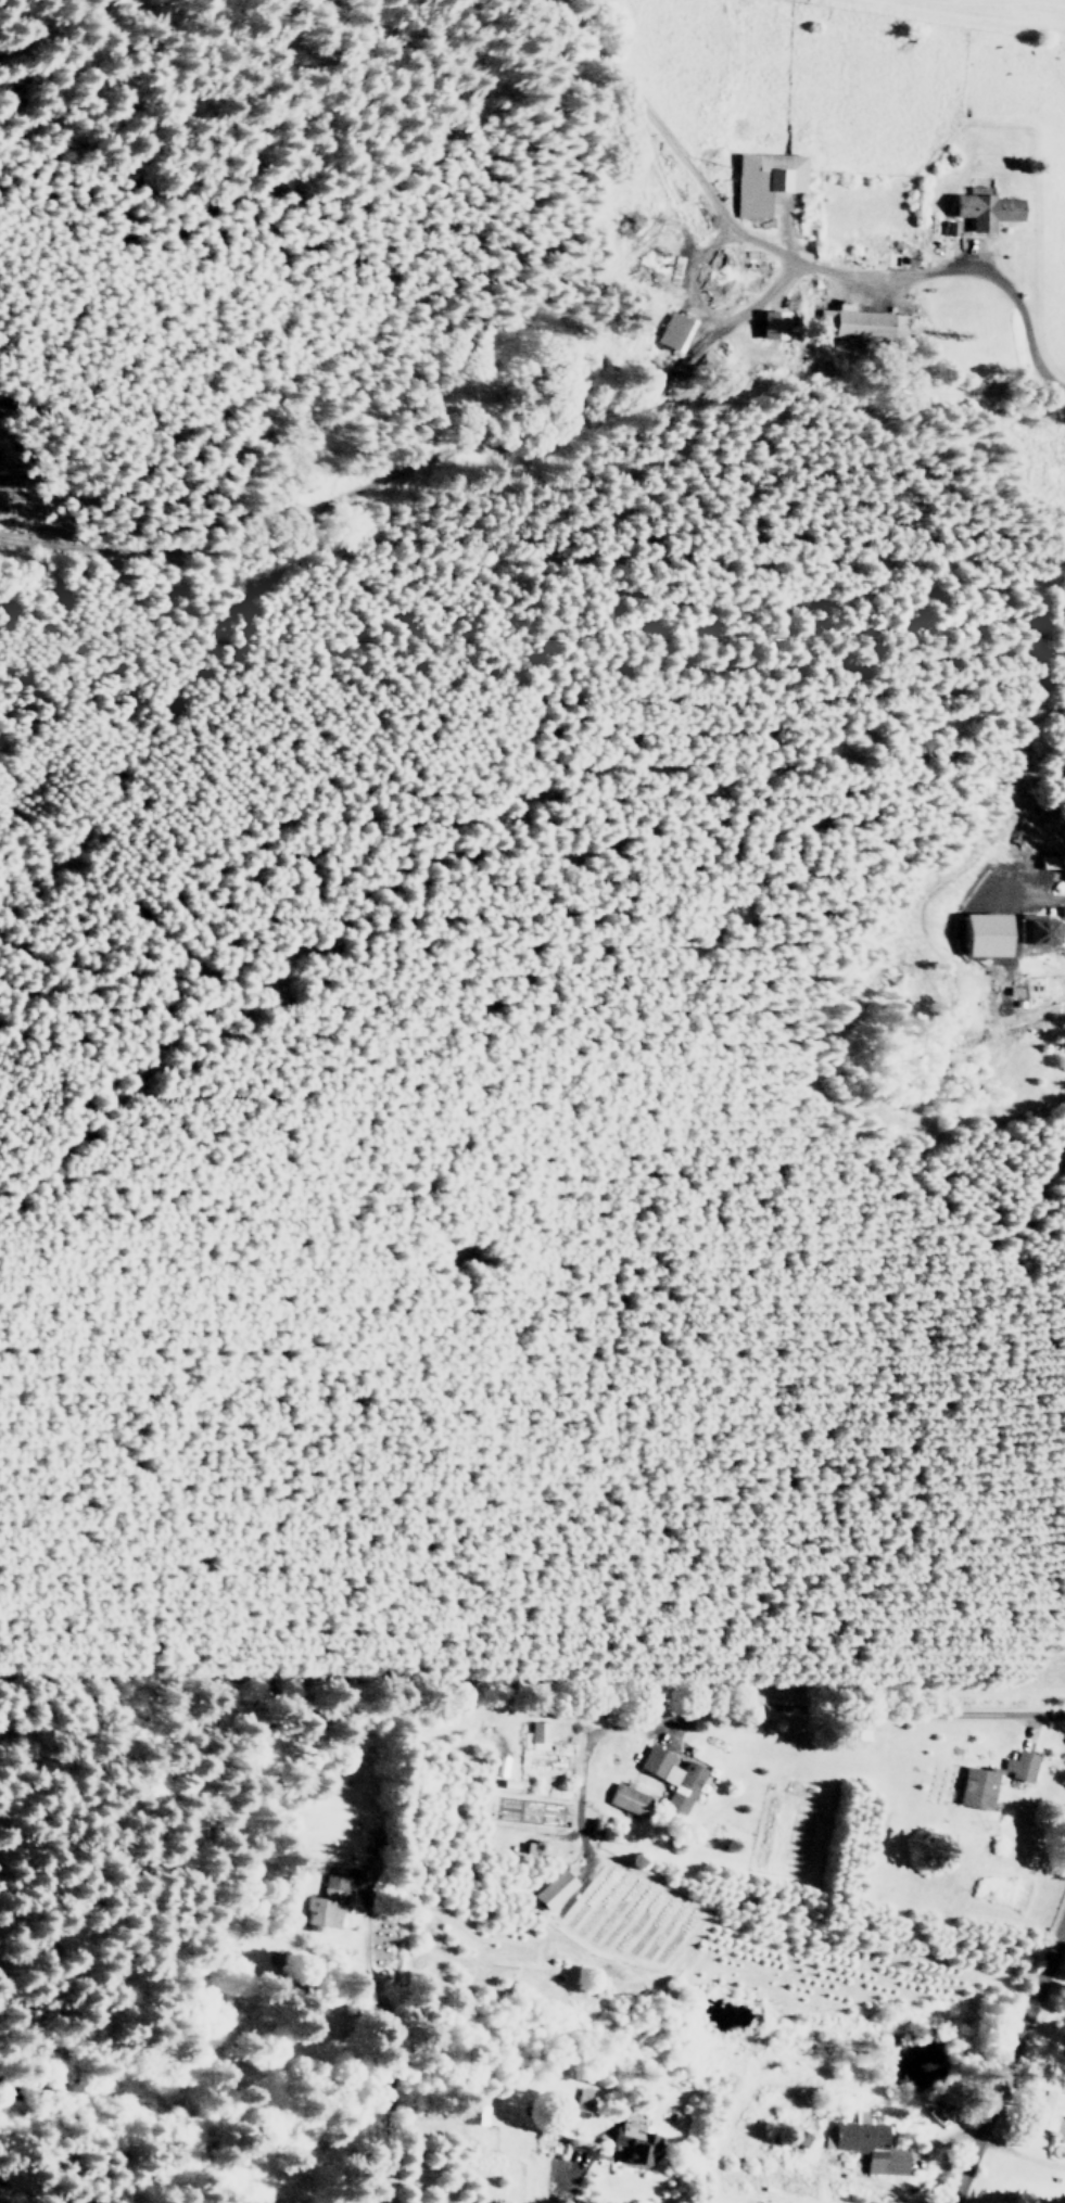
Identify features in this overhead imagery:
building: (765, 180)
building: (989, 208)
building: (776, 323)
building: (866, 323)
building: (673, 331)
building: (1039, 929)
building: (990, 934)
road: (649, 1706)
building: (538, 1734)
building: (1022, 1765)
building: (674, 1777)
building: (979, 1787)
building: (631, 1799)
building: (522, 1809)
building: (554, 1888)
building: (326, 1902)
road: (1006, 2060)
building: (583, 2096)
building: (1053, 2108)
building: (636, 2140)
building: (867, 2143)

